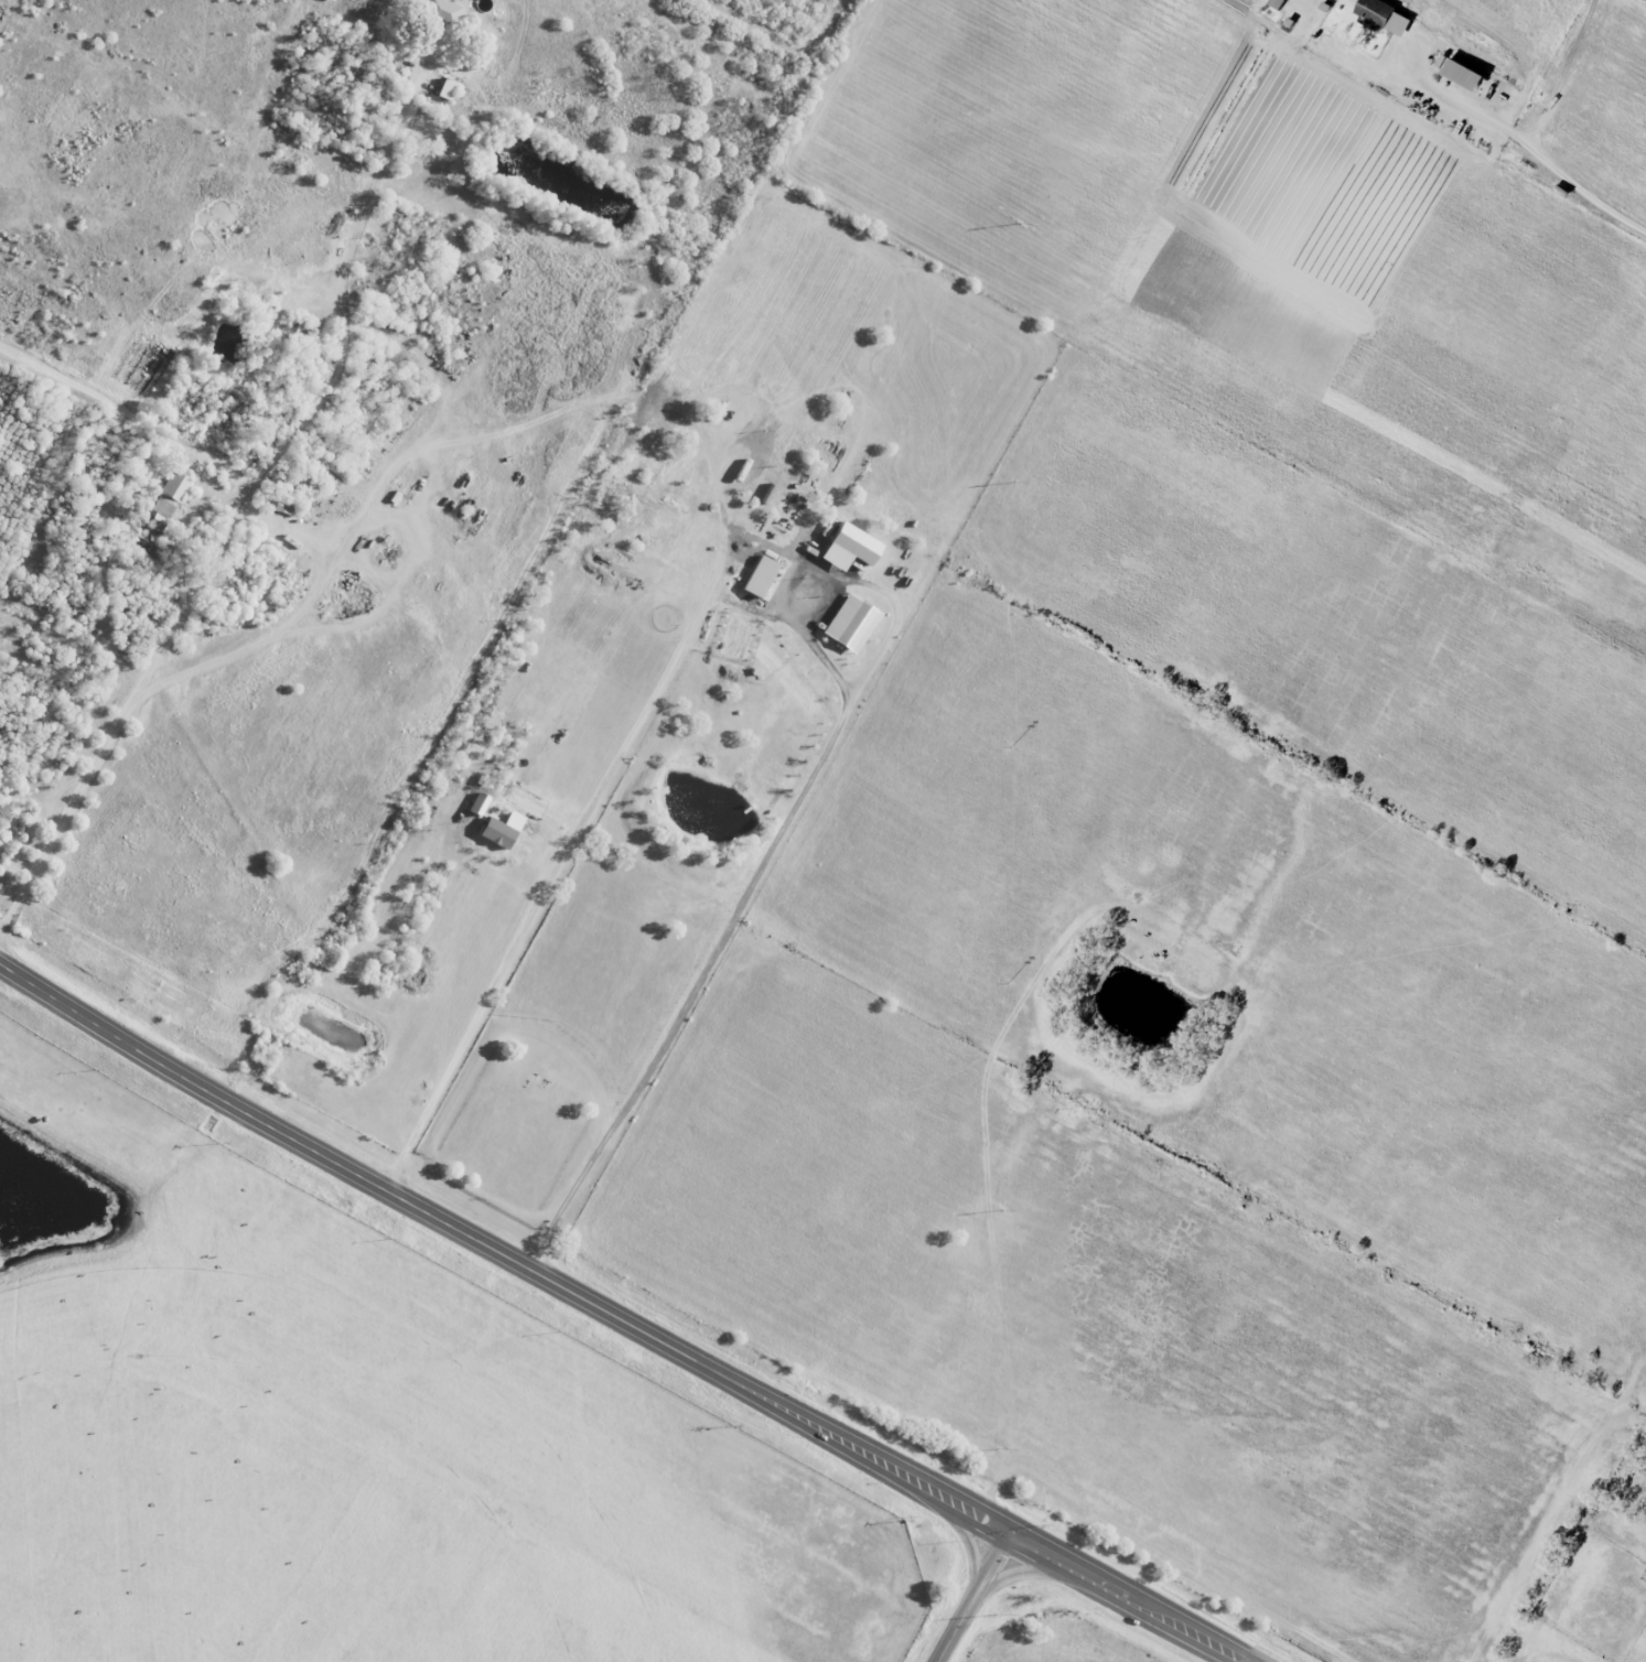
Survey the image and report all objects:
building: (1277, 3)
building: (443, 10)
building: (1380, 17)
building: (1456, 73)
building: (450, 89)
road: (1529, 139)
power tower: (1021, 227)
road: (122, 417)
power tower: (1015, 484)
building: (169, 498)
road: (227, 511)
building: (853, 548)
building: (764, 576)
road: (886, 595)
road: (295, 607)
building: (854, 623)
power tower: (1013, 746)
road: (585, 821)
building: (505, 830)
road: (738, 902)
power tower: (1010, 983)
power tower: (1005, 1210)
road: (615, 1314)
power tower: (1000, 1449)
road: (971, 1597)
power tower: (998, 1616)

